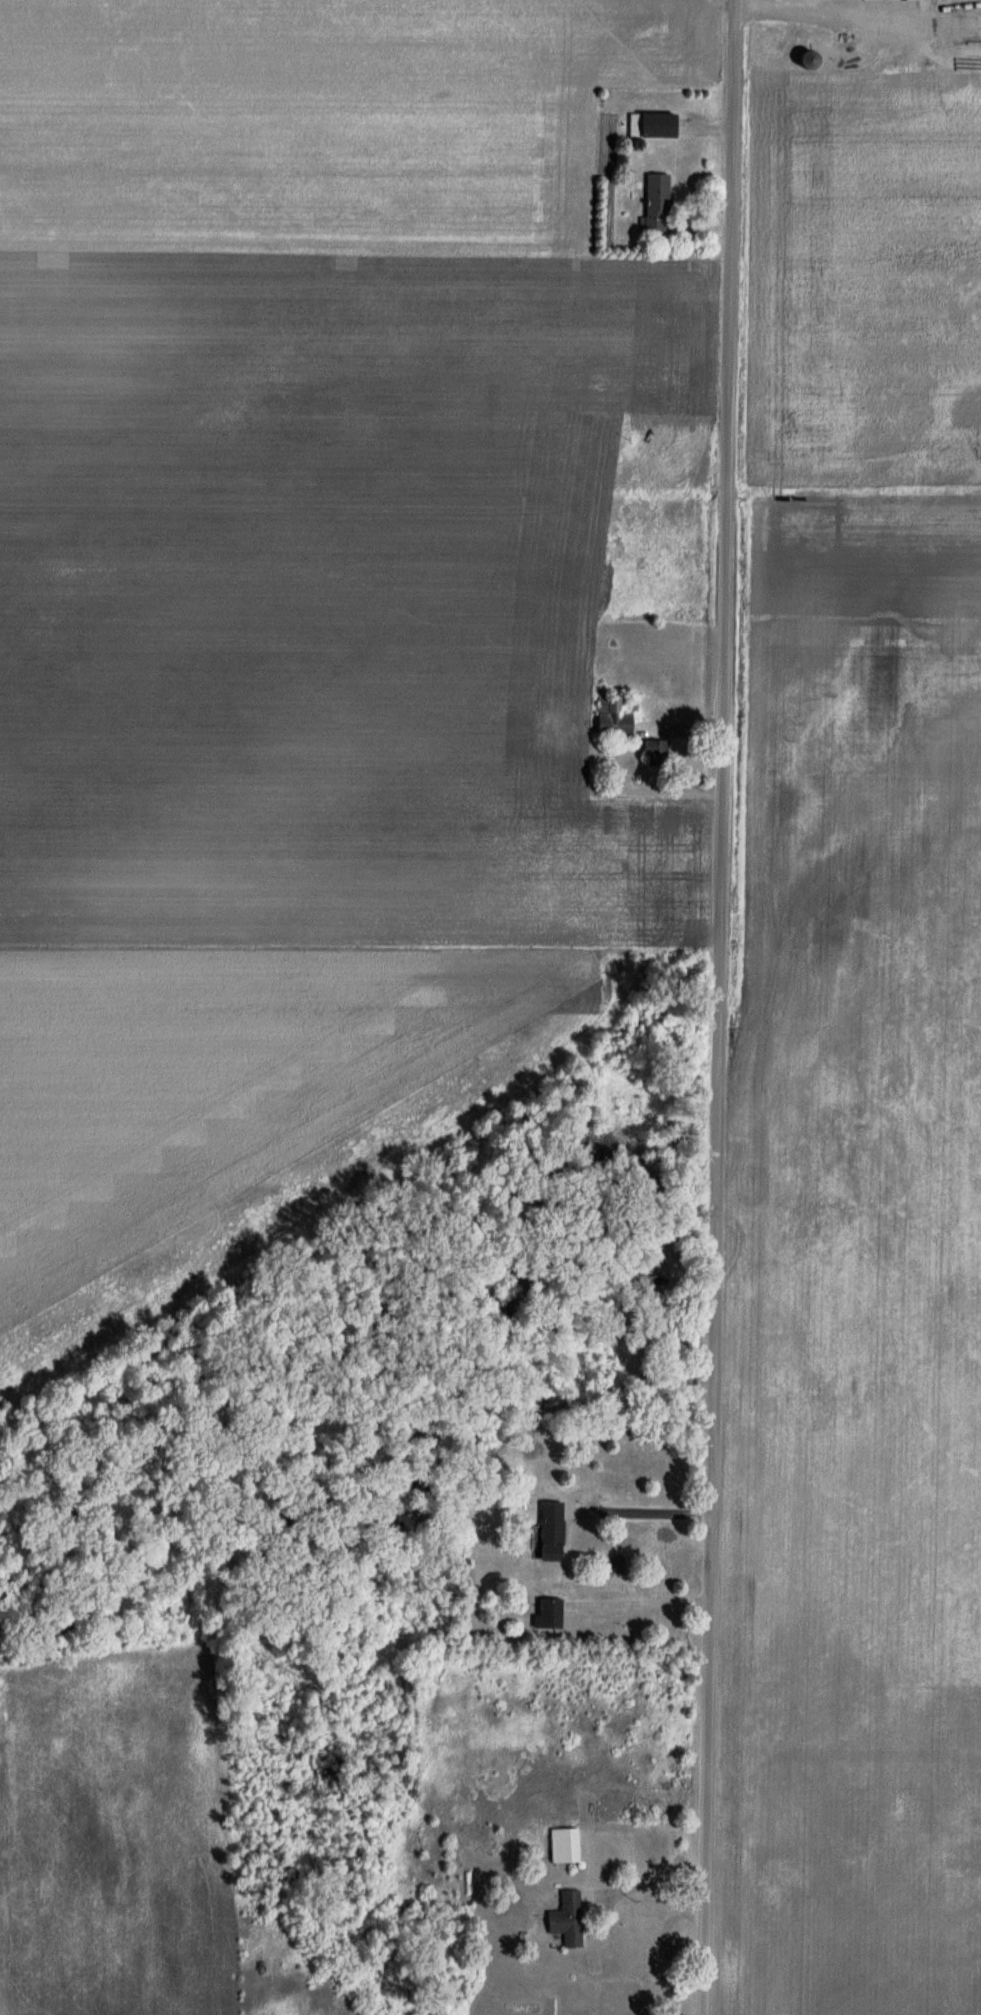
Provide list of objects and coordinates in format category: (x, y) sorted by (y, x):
building: (885, 0)
building: (806, 61)
building: (651, 125)
building: (655, 205)
building: (613, 720)
building: (657, 750)
road: (718, 1007)
road: (642, 1511)
building: (550, 1532)
road: (645, 1600)
building: (549, 1614)
building: (564, 1846)
road: (644, 1886)
building: (567, 1919)

